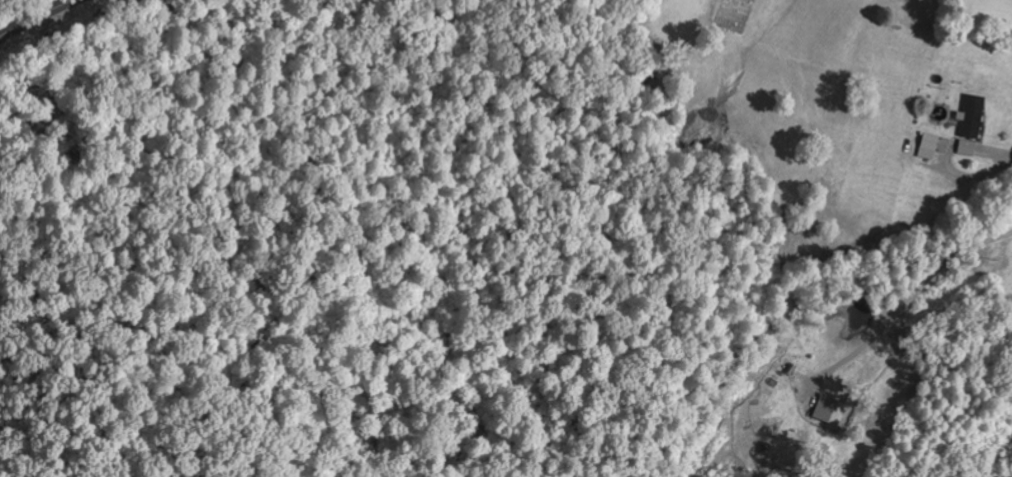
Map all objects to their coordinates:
road: (40, 18)
building: (973, 116)
building: (930, 145)
building: (968, 147)
building: (830, 410)

